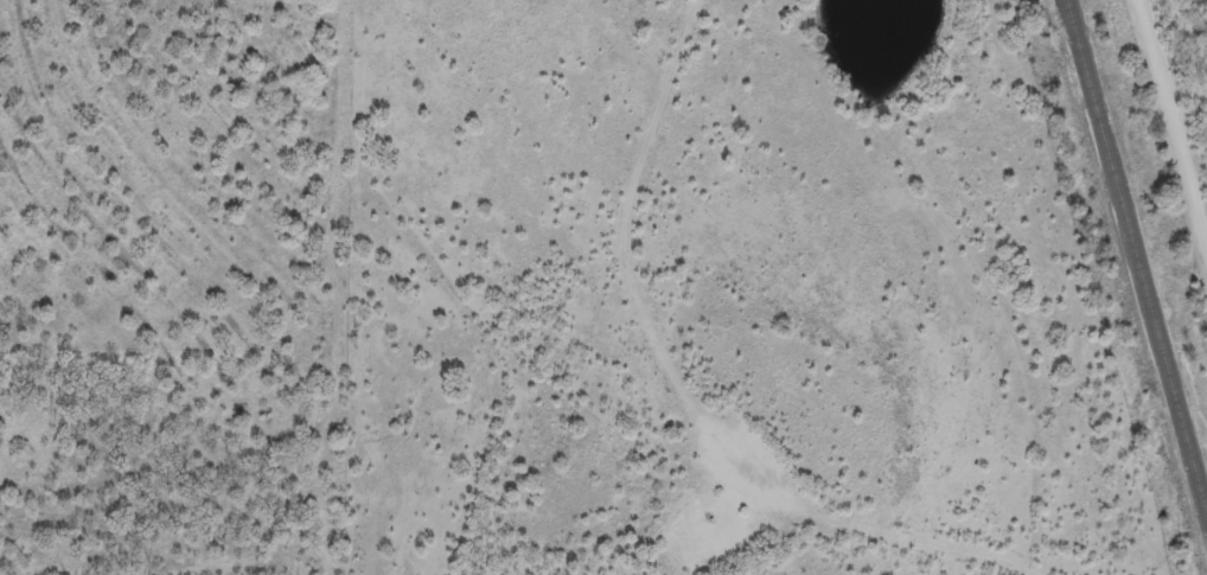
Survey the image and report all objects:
road: (1171, 133)
railway: (1133, 263)

